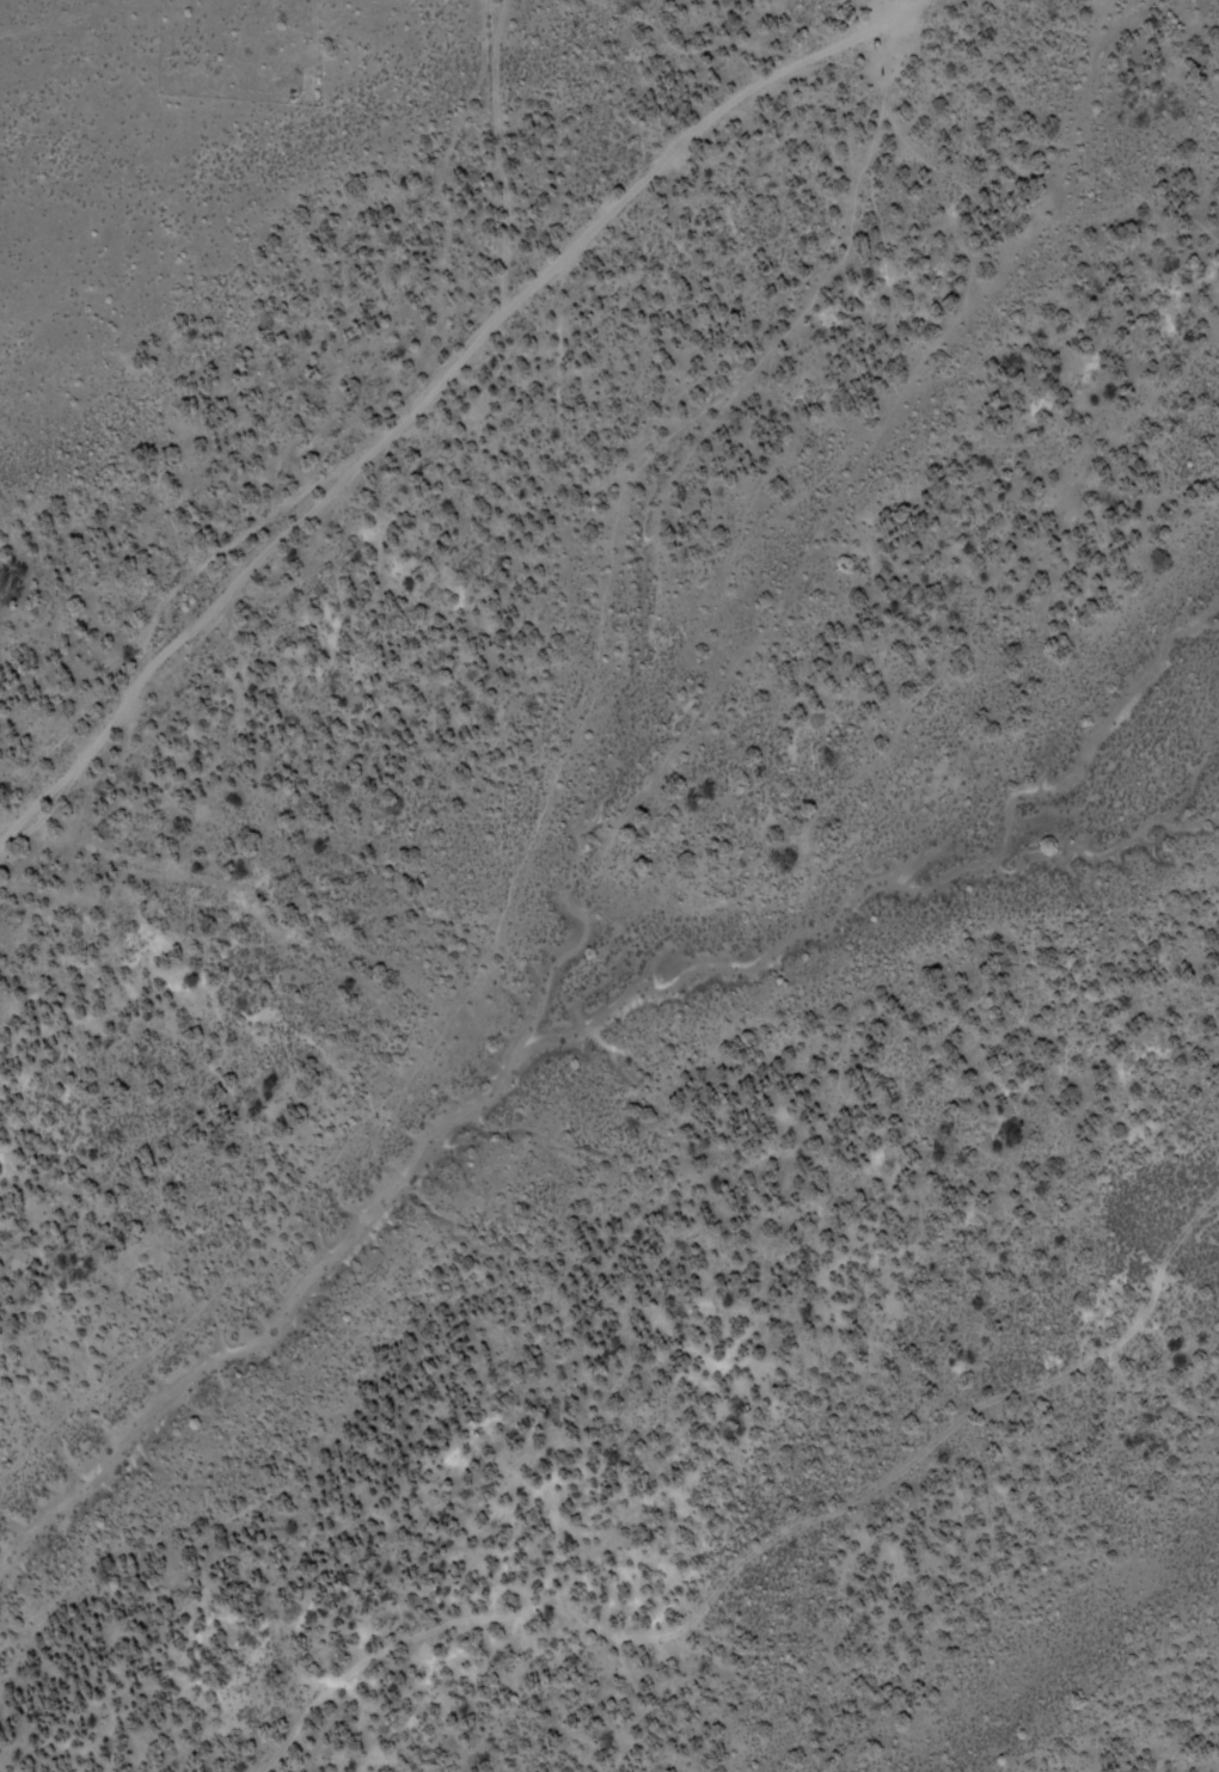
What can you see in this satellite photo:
road: (430, 385)

